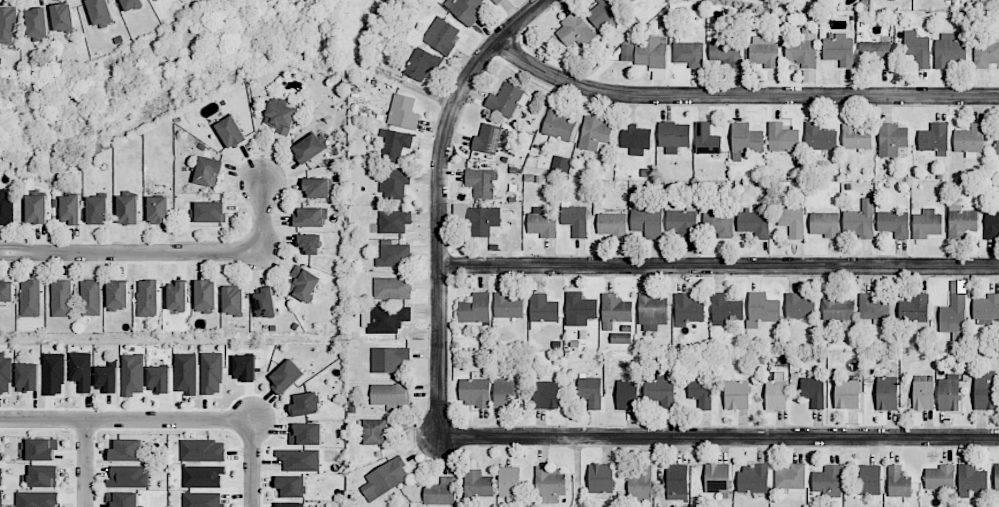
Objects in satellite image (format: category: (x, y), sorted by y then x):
building: (155, 0)
building: (495, 1)
building: (629, 1)
building: (132, 4)
building: (464, 10)
building: (100, 12)
building: (603, 12)
building: (63, 17)
building: (37, 22)
building: (7, 25)
building: (575, 31)
building: (442, 35)
building: (917, 48)
building: (802, 49)
building: (839, 49)
building: (949, 49)
building: (764, 51)
building: (646, 52)
building: (688, 52)
building: (726, 53)
building: (876, 53)
building: (986, 54)
building: (422, 64)
road: (741, 97)
building: (506, 100)
building: (403, 112)
building: (280, 117)
building: (558, 124)
building: (231, 132)
building: (595, 135)
building: (674, 136)
building: (819, 137)
building: (856, 137)
building: (934, 137)
building: (782, 138)
building: (487, 139)
building: (635, 139)
building: (706, 139)
building: (892, 139)
building: (745, 140)
building: (970, 140)
building: (395, 144)
building: (997, 146)
building: (308, 148)
building: (561, 163)
building: (208, 171)
building: (481, 182)
building: (396, 184)
building: (318, 187)
road: (439, 199)
building: (6, 208)
building: (36, 209)
building: (128, 209)
building: (70, 210)
building: (97, 210)
building: (159, 210)
building: (210, 212)
building: (310, 218)
building: (575, 220)
building: (394, 221)
building: (483, 221)
building: (717, 221)
building: (792, 221)
building: (860, 221)
building: (647, 222)
building: (681, 222)
building: (961, 222)
building: (542, 223)
building: (754, 223)
building: (894, 223)
building: (611, 224)
building: (825, 224)
building: (926, 224)
building: (991, 225)
building: (309, 243)
road: (12, 247)
road: (180, 254)
building: (393, 254)
road: (12, 260)
road: (719, 267)
building: (303, 283)
building: (393, 288)
building: (6, 292)
building: (118, 295)
building: (205, 296)
building: (90, 297)
building: (177, 297)
building: (30, 298)
building: (61, 298)
building: (147, 298)
building: (232, 300)
building: (265, 303)
building: (508, 305)
building: (799, 307)
building: (475, 308)
building: (616, 308)
building: (836, 308)
building: (873, 308)
building: (579, 309)
building: (687, 309)
building: (725, 309)
building: (762, 309)
building: (954, 309)
building: (986, 309)
building: (542, 310)
building: (915, 311)
building: (652, 312)
building: (384, 318)
building: (621, 338)
building: (389, 359)
building: (244, 367)
building: (81, 371)
building: (185, 373)
building: (211, 373)
building: (5, 374)
building: (53, 374)
building: (132, 374)
building: (286, 376)
building: (27, 377)
building: (107, 378)
building: (159, 379)
building: (660, 390)
building: (984, 390)
building: (590, 391)
building: (474, 392)
building: (776, 392)
building: (814, 392)
building: (504, 393)
building: (886, 393)
building: (922, 393)
building: (948, 393)
building: (390, 394)
building: (626, 394)
building: (847, 394)
building: (545, 395)
building: (737, 395)
building: (306, 404)
road: (127, 420)
building: (375, 432)
building: (306, 434)
road: (718, 438)
building: (39, 450)
building: (127, 450)
building: (203, 450)
building: (299, 459)
road: (86, 463)
road: (254, 464)
building: (41, 476)
building: (128, 476)
building: (203, 477)
building: (790, 477)
building: (940, 477)
building: (600, 478)
building: (717, 478)
building: (753, 478)
building: (996, 478)
building: (384, 479)
building: (870, 479)
building: (827, 480)
building: (971, 480)
building: (509, 482)
building: (677, 482)
building: (898, 482)
building: (478, 484)
building: (550, 484)
building: (640, 484)
building: (291, 486)
building: (441, 492)
building: (37, 499)
building: (123, 499)
building: (202, 499)
building: (291, 504)

